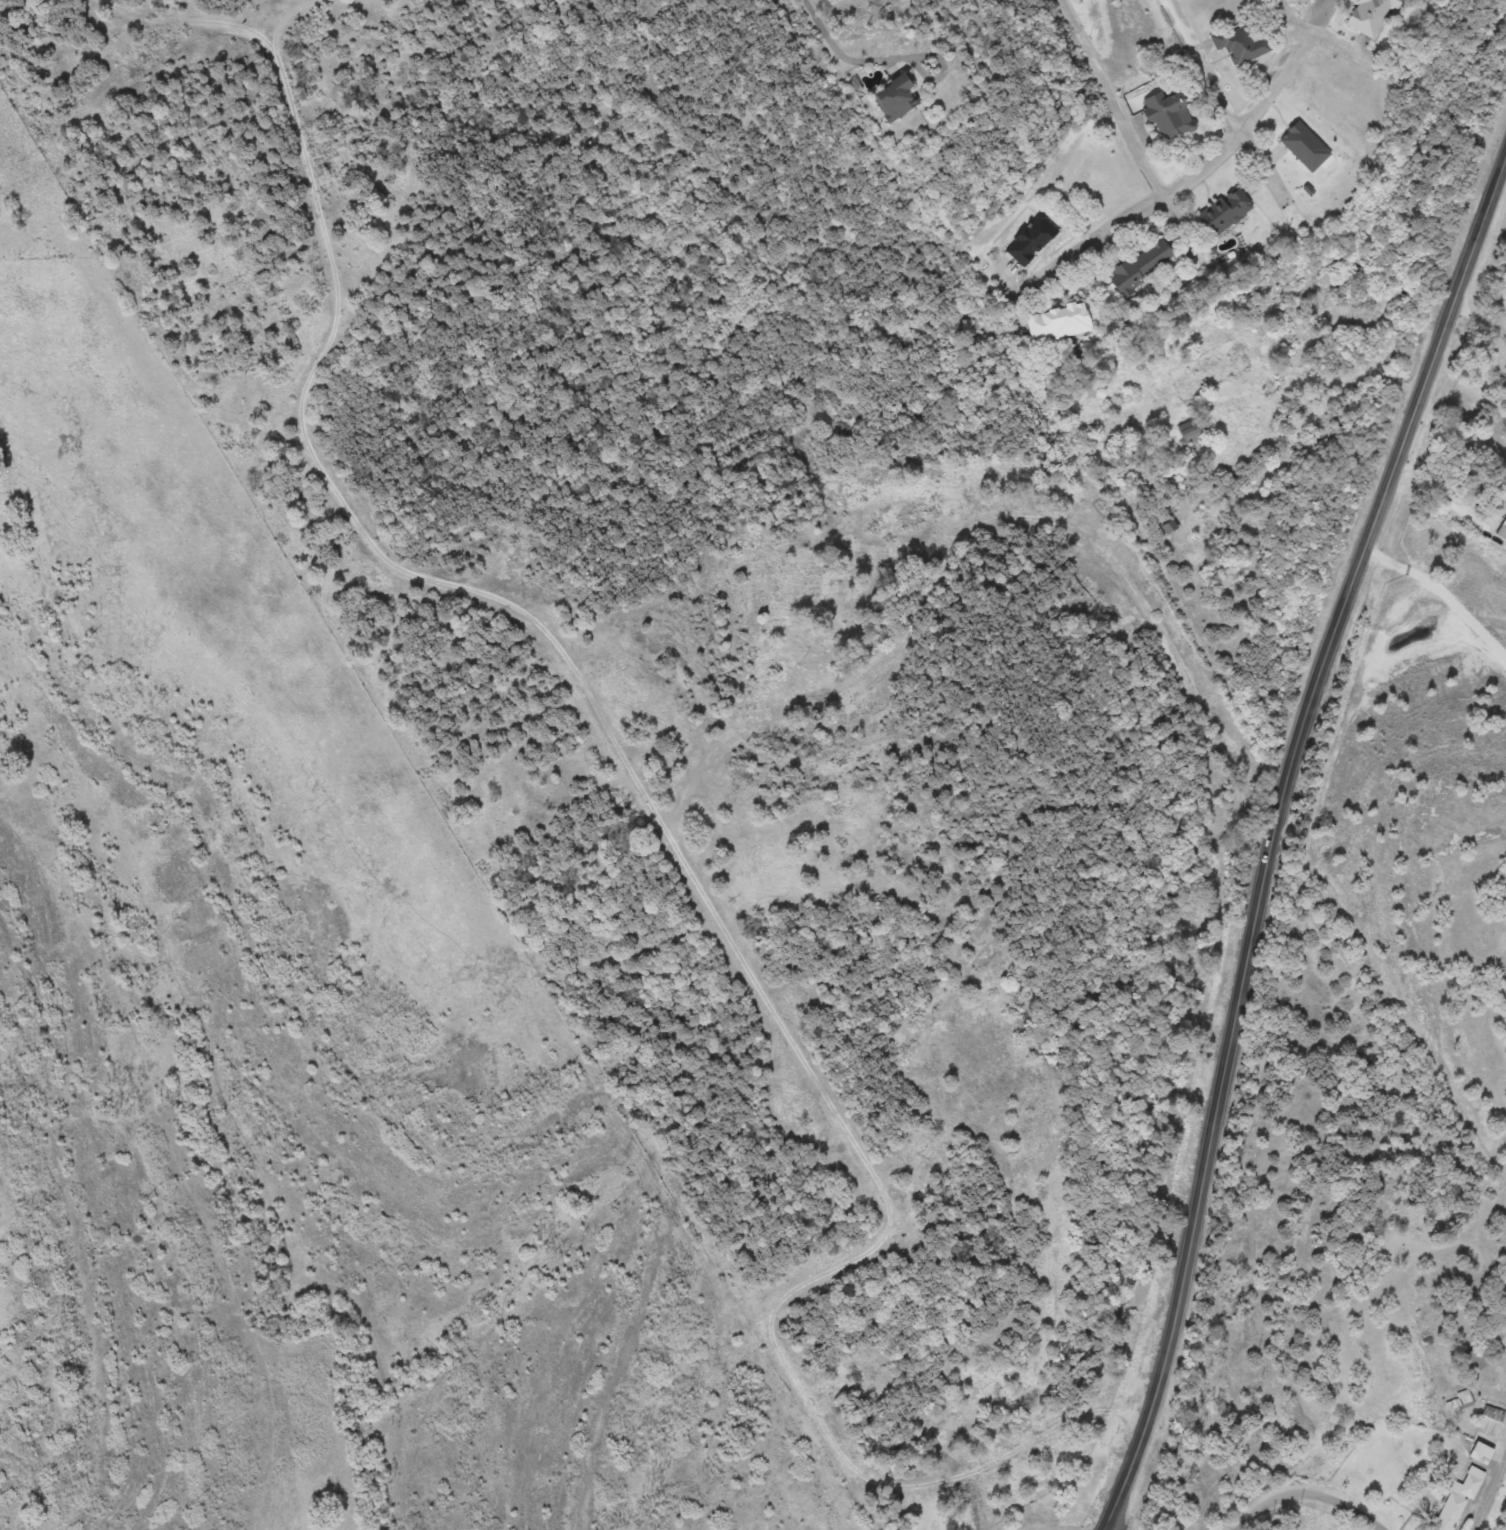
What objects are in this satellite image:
building: (1371, 15)
road: (822, 24)
road: (1326, 39)
building: (1243, 45)
road: (1209, 66)
building: (896, 98)
building: (1169, 114)
road: (1125, 126)
road: (1260, 162)
road: (1194, 173)
road: (1499, 177)
building: (1227, 211)
building: (1032, 240)
building: (1142, 265)
building: (1059, 321)
building: (1503, 390)
building: (1502, 531)
road: (1441, 592)
road: (1275, 821)
building: (1473, 1362)
building: (1491, 1419)
building: (1481, 1453)
road: (1317, 1486)
building: (1456, 1501)
road: (1111, 1529)

